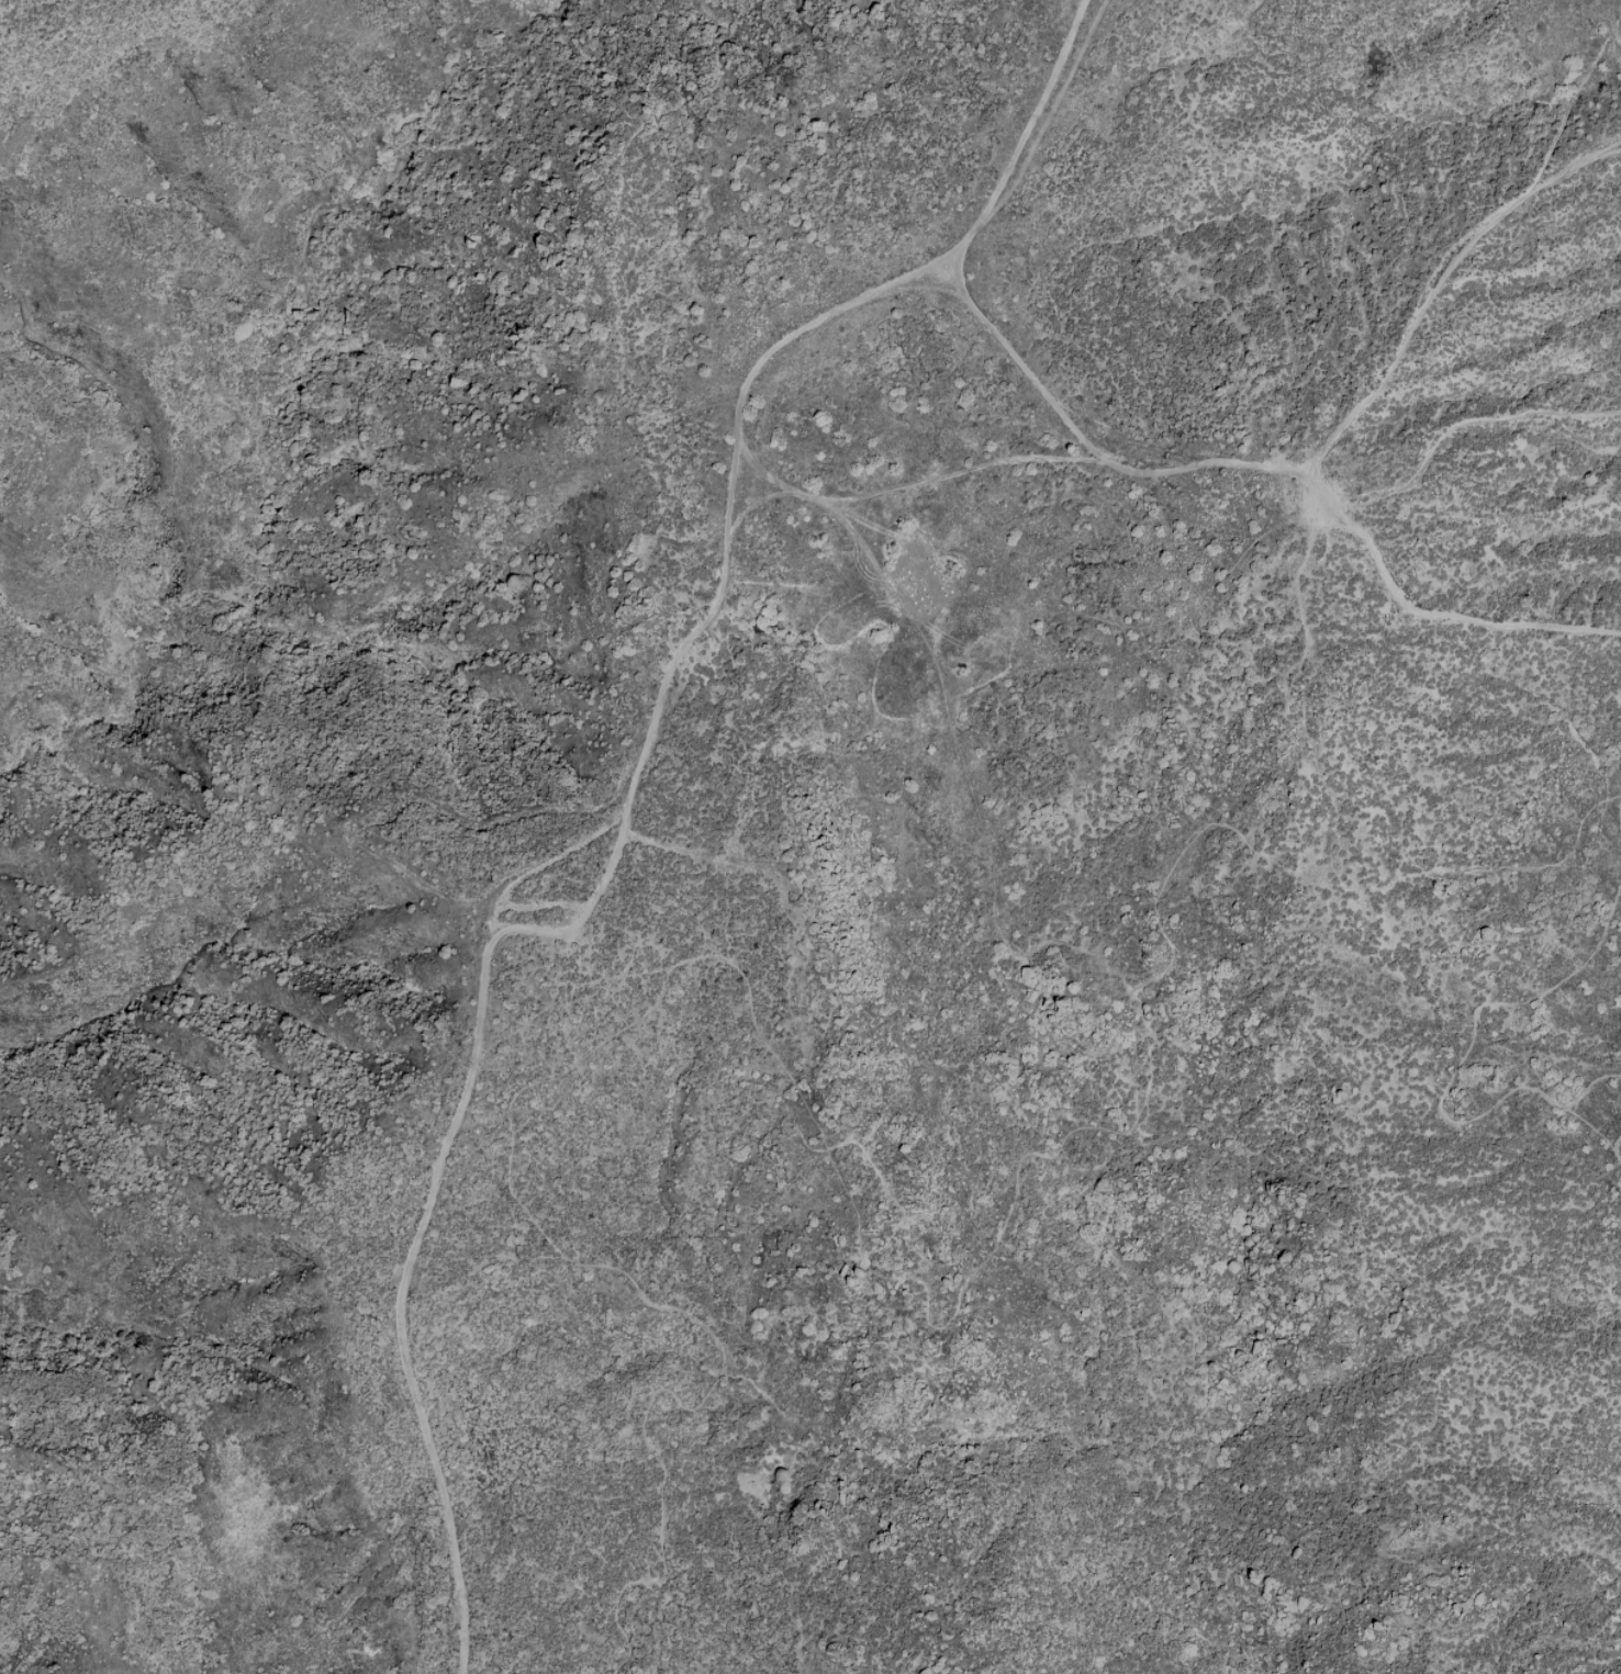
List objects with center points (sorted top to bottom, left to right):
road: (579, 783)

